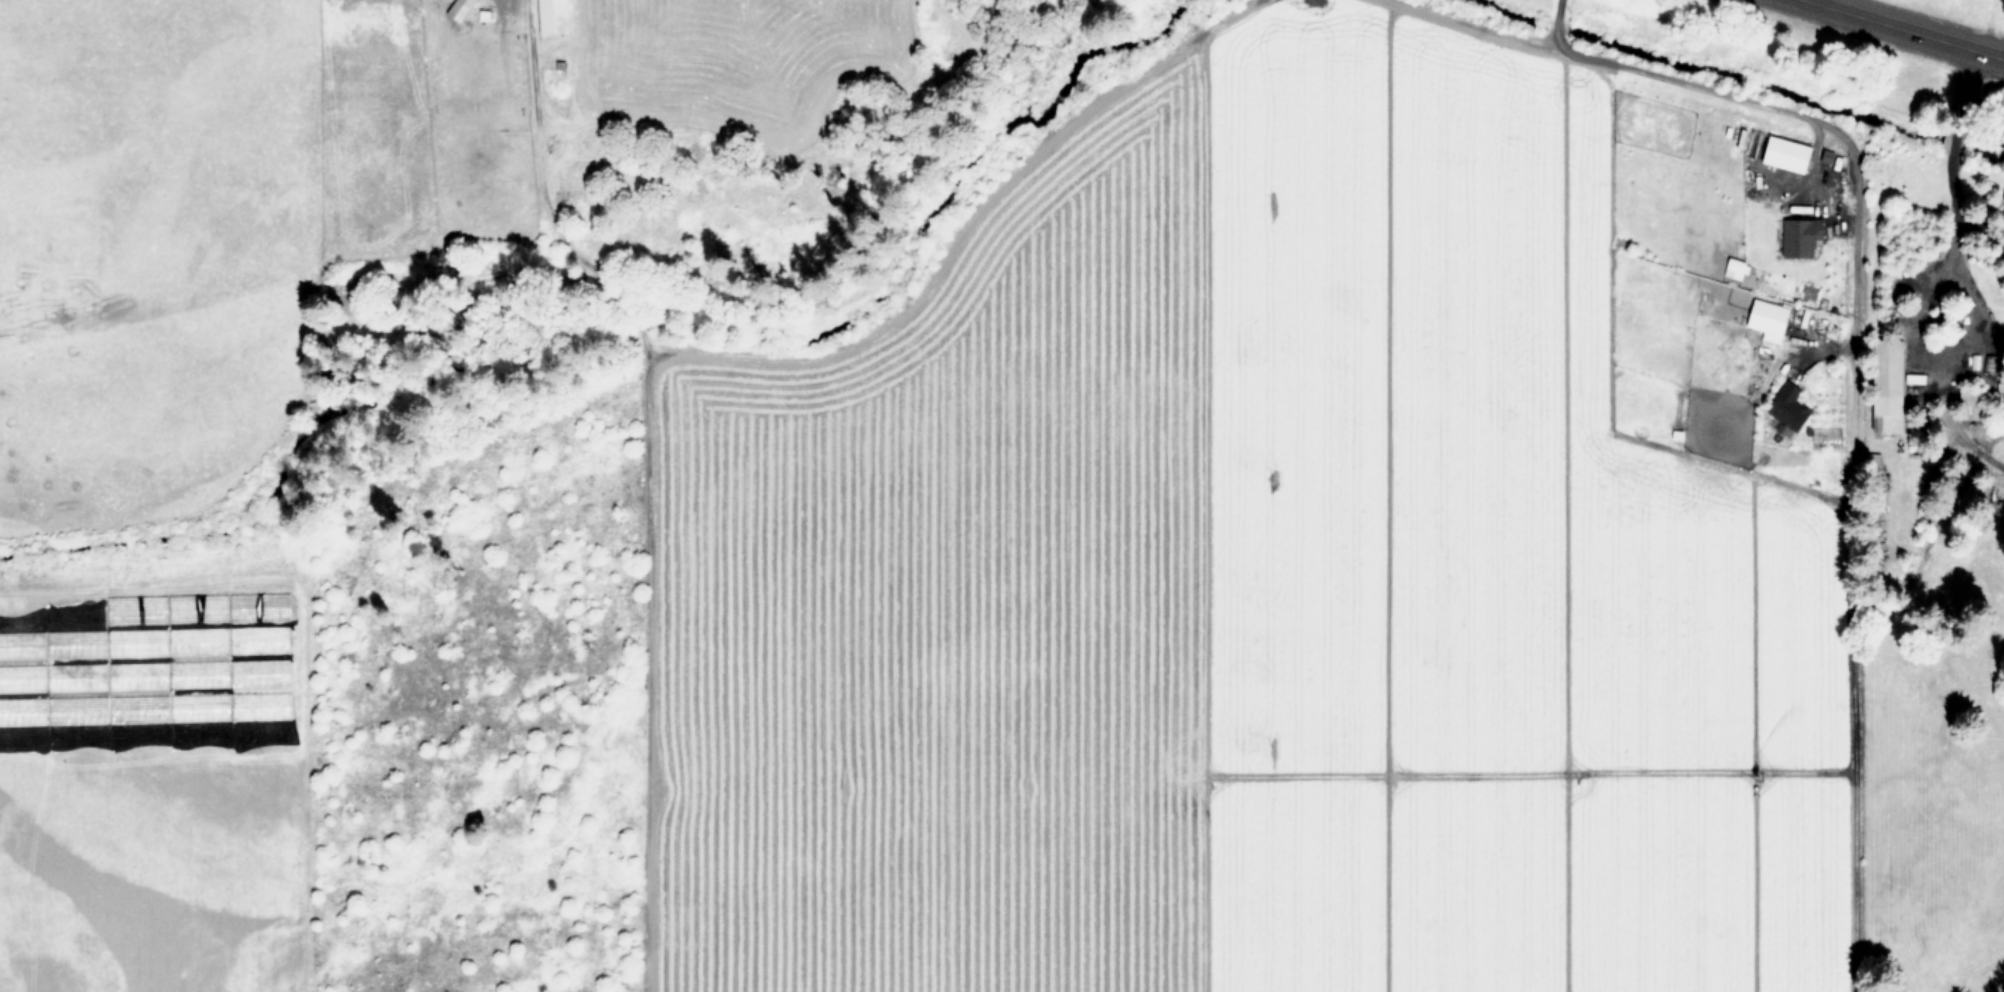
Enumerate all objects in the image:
road: (1559, 6)
building: (460, 8)
building: (555, 16)
road: (1892, 24)
road: (1558, 25)
road: (1990, 53)
road: (1967, 81)
road: (1956, 124)
building: (1779, 152)
road: (1847, 164)
road: (1974, 223)
building: (1796, 235)
road: (1955, 242)
building: (1764, 317)
building: (1911, 377)
building: (1883, 386)
building: (1783, 407)
road: (652, 479)
crop: (1345, 557)
building: (199, 606)
building: (260, 606)
building: (138, 608)
building: (260, 639)
building: (198, 640)
building: (137, 641)
building: (76, 643)
building: (22, 644)
building: (259, 671)
building: (198, 672)
building: (137, 673)
building: (76, 676)
building: (22, 677)
building: (199, 705)
building: (260, 705)
building: (138, 707)
building: (77, 709)
building: (22, 710)

